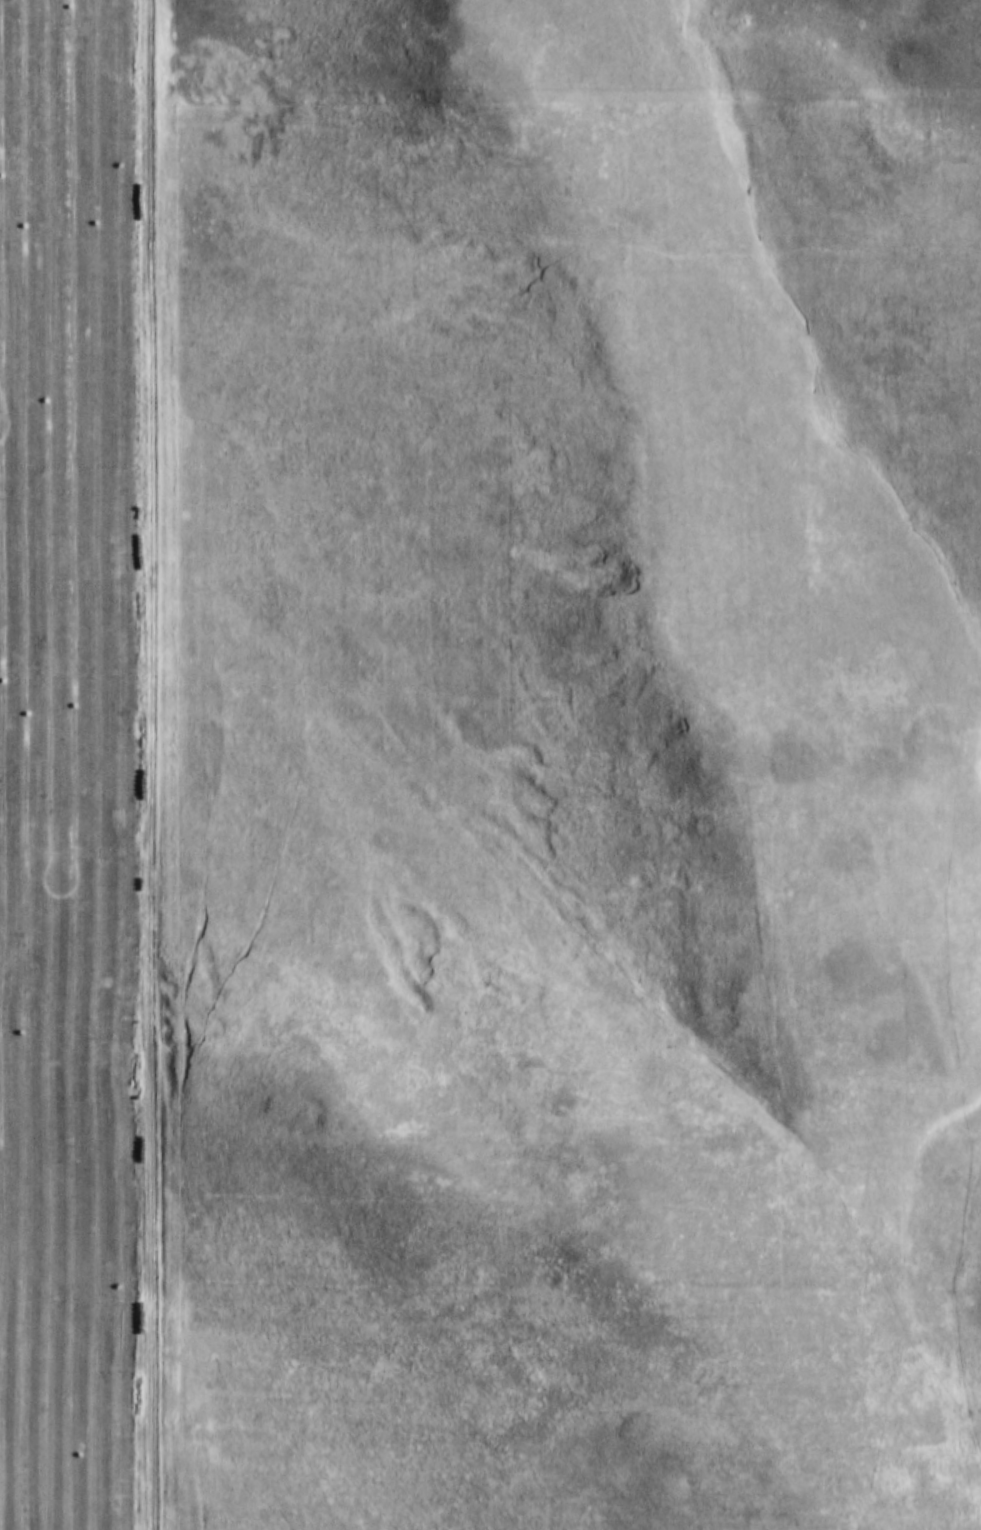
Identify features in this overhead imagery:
road: (149, 764)

